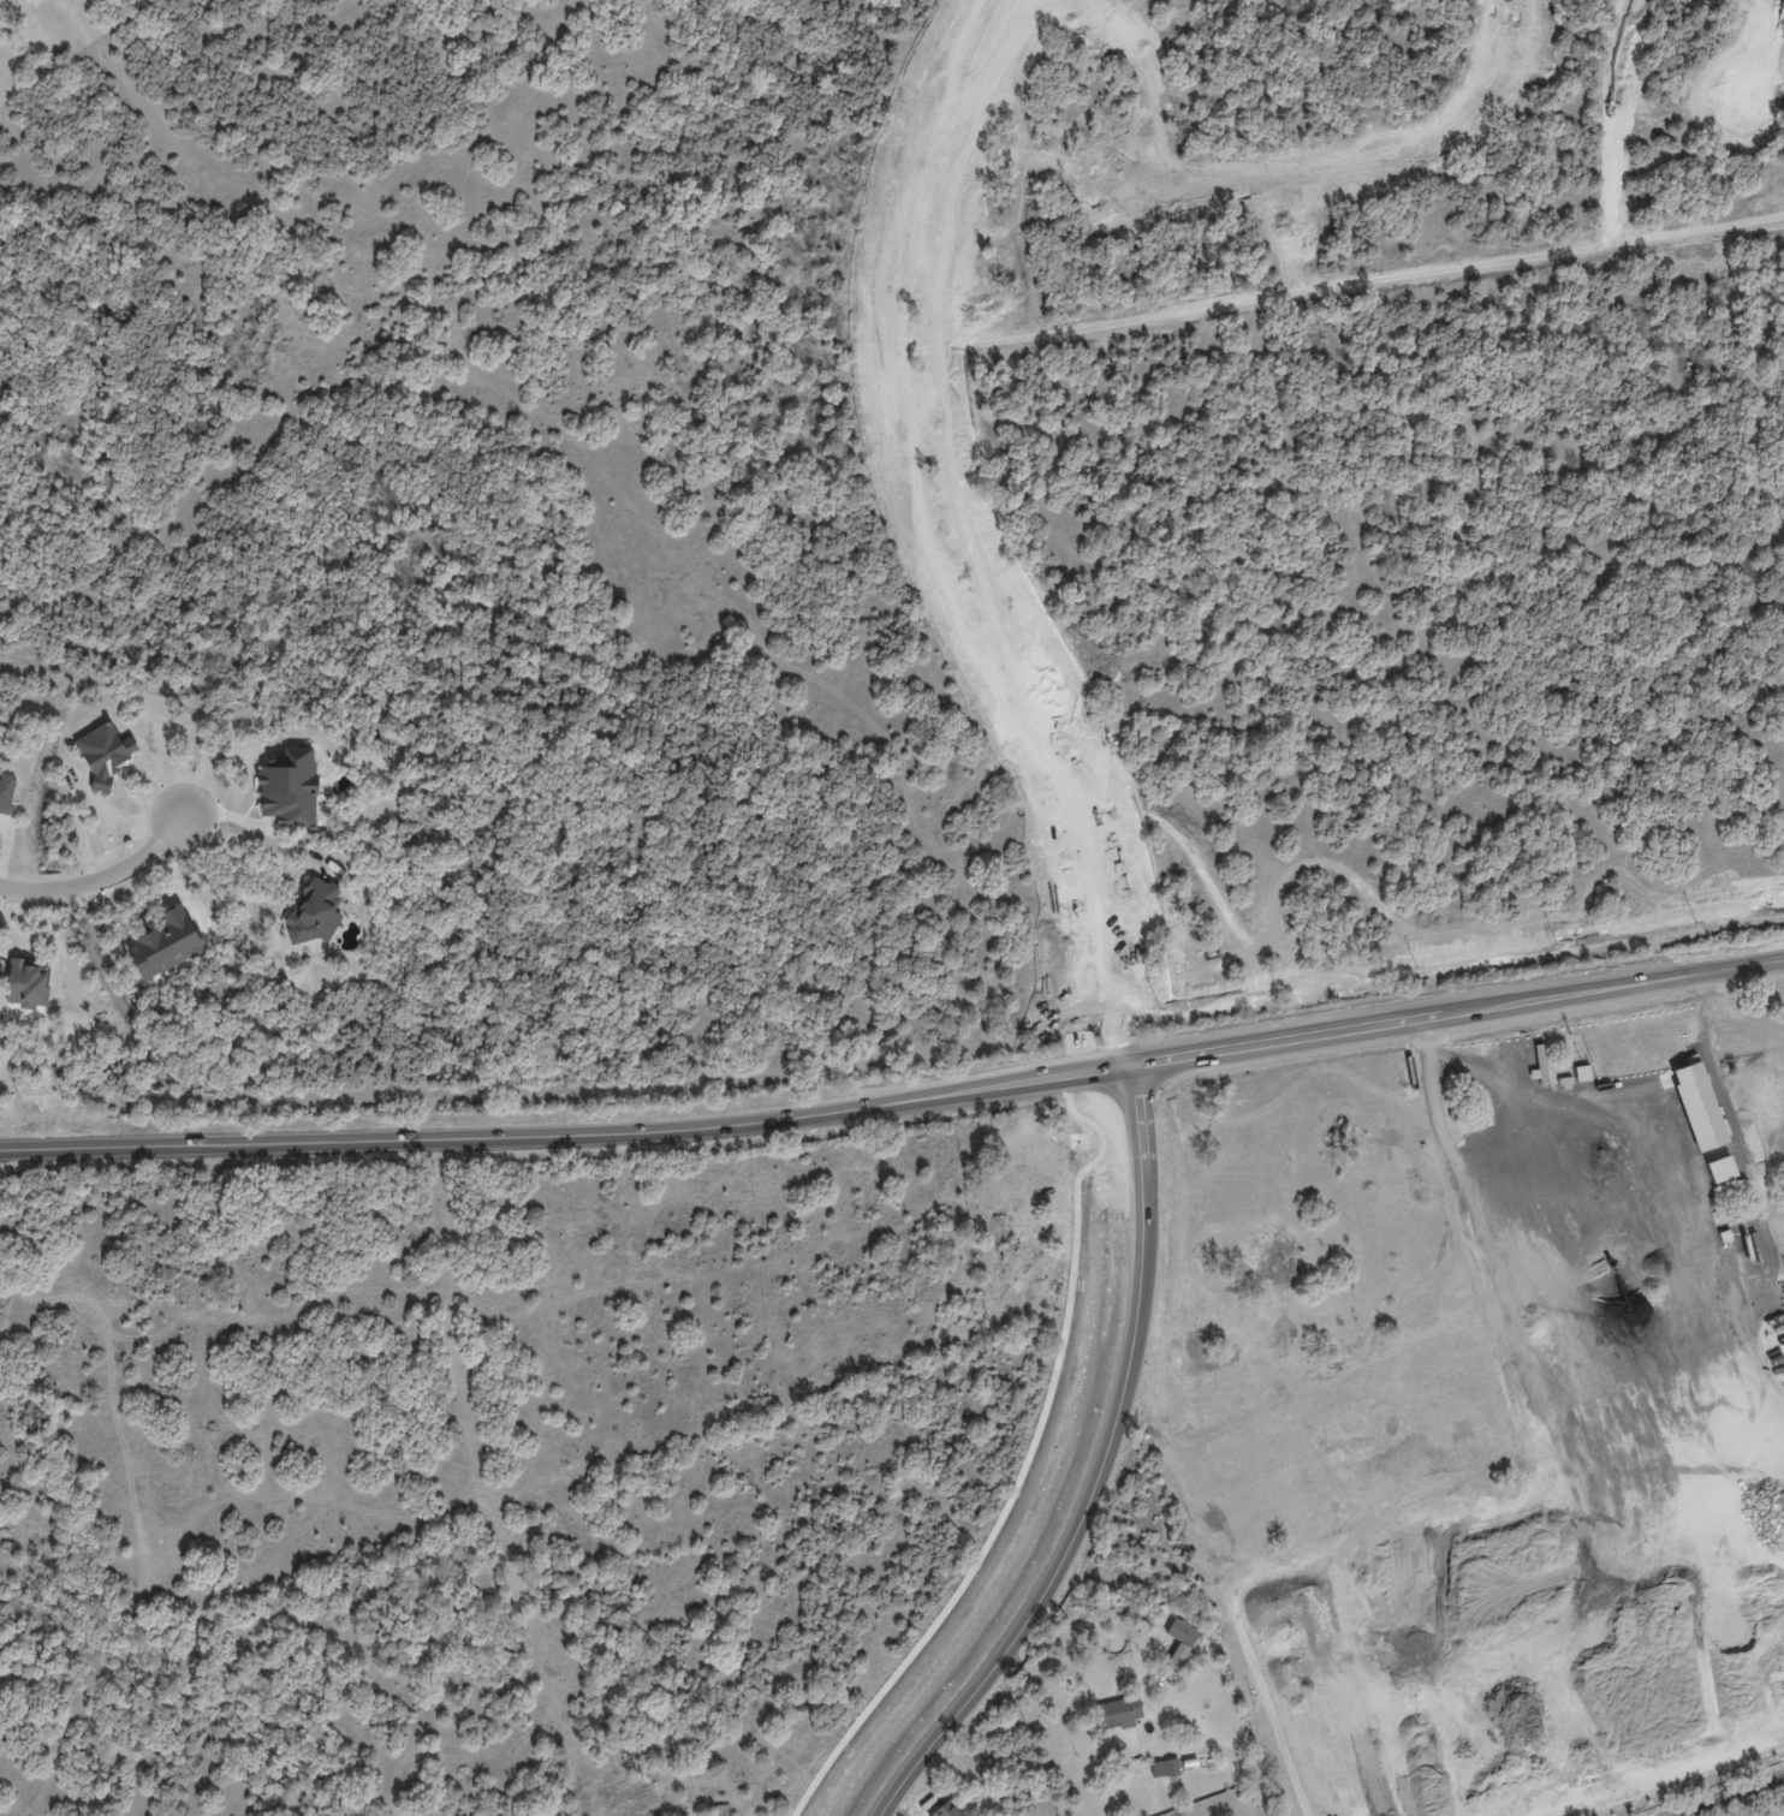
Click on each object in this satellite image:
road: (1753, 50)
road: (1350, 155)
road: (979, 537)
road: (934, 544)
building: (105, 752)
building: (290, 786)
building: (6, 792)
road: (251, 838)
road: (99, 876)
building: (315, 911)
building: (28, 981)
road: (896, 1103)
building: (1699, 1106)
road: (1483, 1161)
building: (1720, 1169)
road: (1096, 1470)
building: (1181, 1641)
building: (1072, 1687)
building: (1118, 1711)
road: (1215, 1749)
building: (1165, 1768)
road: (1731, 1796)
building: (726, 1809)
building: (823, 1809)
building: (949, 1810)
road: (1689, 1814)

